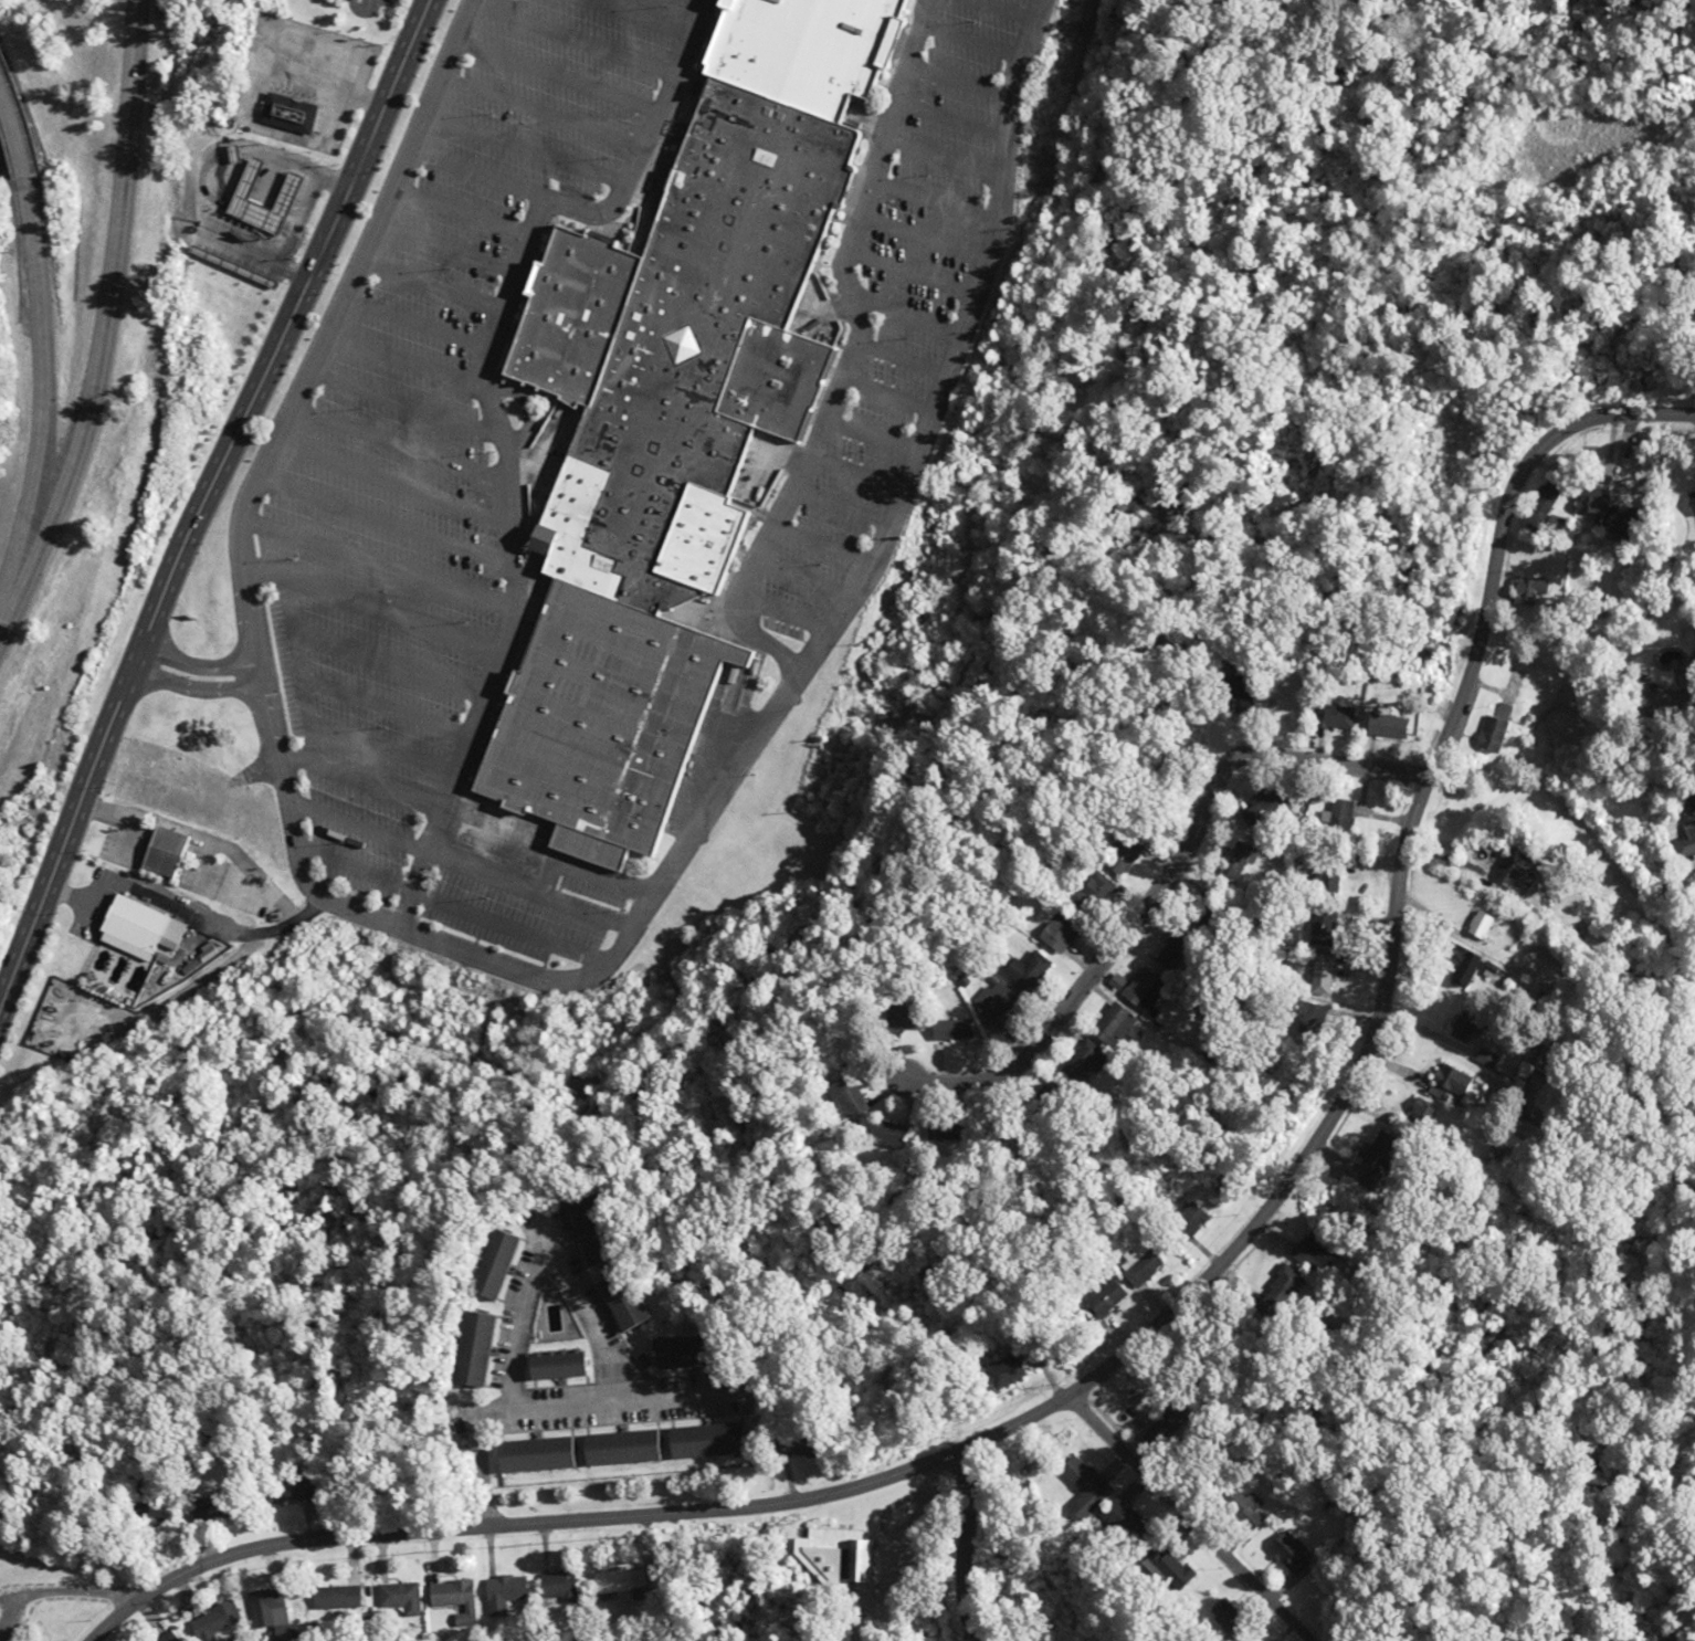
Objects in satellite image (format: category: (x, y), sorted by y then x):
building: (285, 114)
road: (11, 140)
building: (284, 189)
road: (105, 318)
road: (853, 353)
road: (40, 386)
building: (667, 408)
road: (491, 421)
road: (202, 508)
building: (1537, 508)
building: (697, 540)
building: (1515, 593)
road: (196, 677)
building: (1659, 701)
building: (1284, 706)
building: (1334, 716)
building: (1385, 725)
building: (1491, 730)
road: (215, 785)
building: (1275, 802)
building: (1689, 804)
building: (1336, 819)
road: (199, 837)
building: (1685, 841)
building: (158, 851)
building: (1122, 855)
building: (1232, 860)
building: (1515, 870)
building: (1325, 874)
building: (1095, 886)
road: (1398, 886)
road: (1157, 888)
road: (188, 917)
building: (131, 924)
building: (1477, 925)
building: (1320, 930)
building: (1056, 932)
building: (1175, 951)
building: (1461, 966)
road: (520, 969)
building: (1024, 969)
building: (1319, 972)
building: (1145, 991)
building: (993, 1003)
building: (902, 1018)
building: (1112, 1025)
building: (1462, 1029)
building: (949, 1030)
building: (1085, 1061)
building: (1450, 1079)
building: (847, 1098)
building: (1187, 1222)
building: (487, 1263)
building: (1140, 1269)
building: (1104, 1296)
building: (617, 1302)
building: (474, 1350)
building: (668, 1353)
building: (552, 1366)
building: (1002, 1372)
building: (701, 1440)
building: (786, 1447)
building: (618, 1449)
building: (531, 1453)
building: (1084, 1485)
road: (972, 1491)
building: (281, 1492)
building: (1242, 1507)
building: (203, 1511)
road: (1190, 1519)
road: (578, 1521)
building: (1126, 1524)
building: (1289, 1551)
building: (832, 1557)
building: (1168, 1570)
building: (611, 1584)
building: (556, 1585)
road: (60, 1592)
building: (502, 1592)
building: (453, 1597)
building: (336, 1598)
building: (400, 1598)
building: (267, 1608)
building: (213, 1622)
building: (166, 1637)

